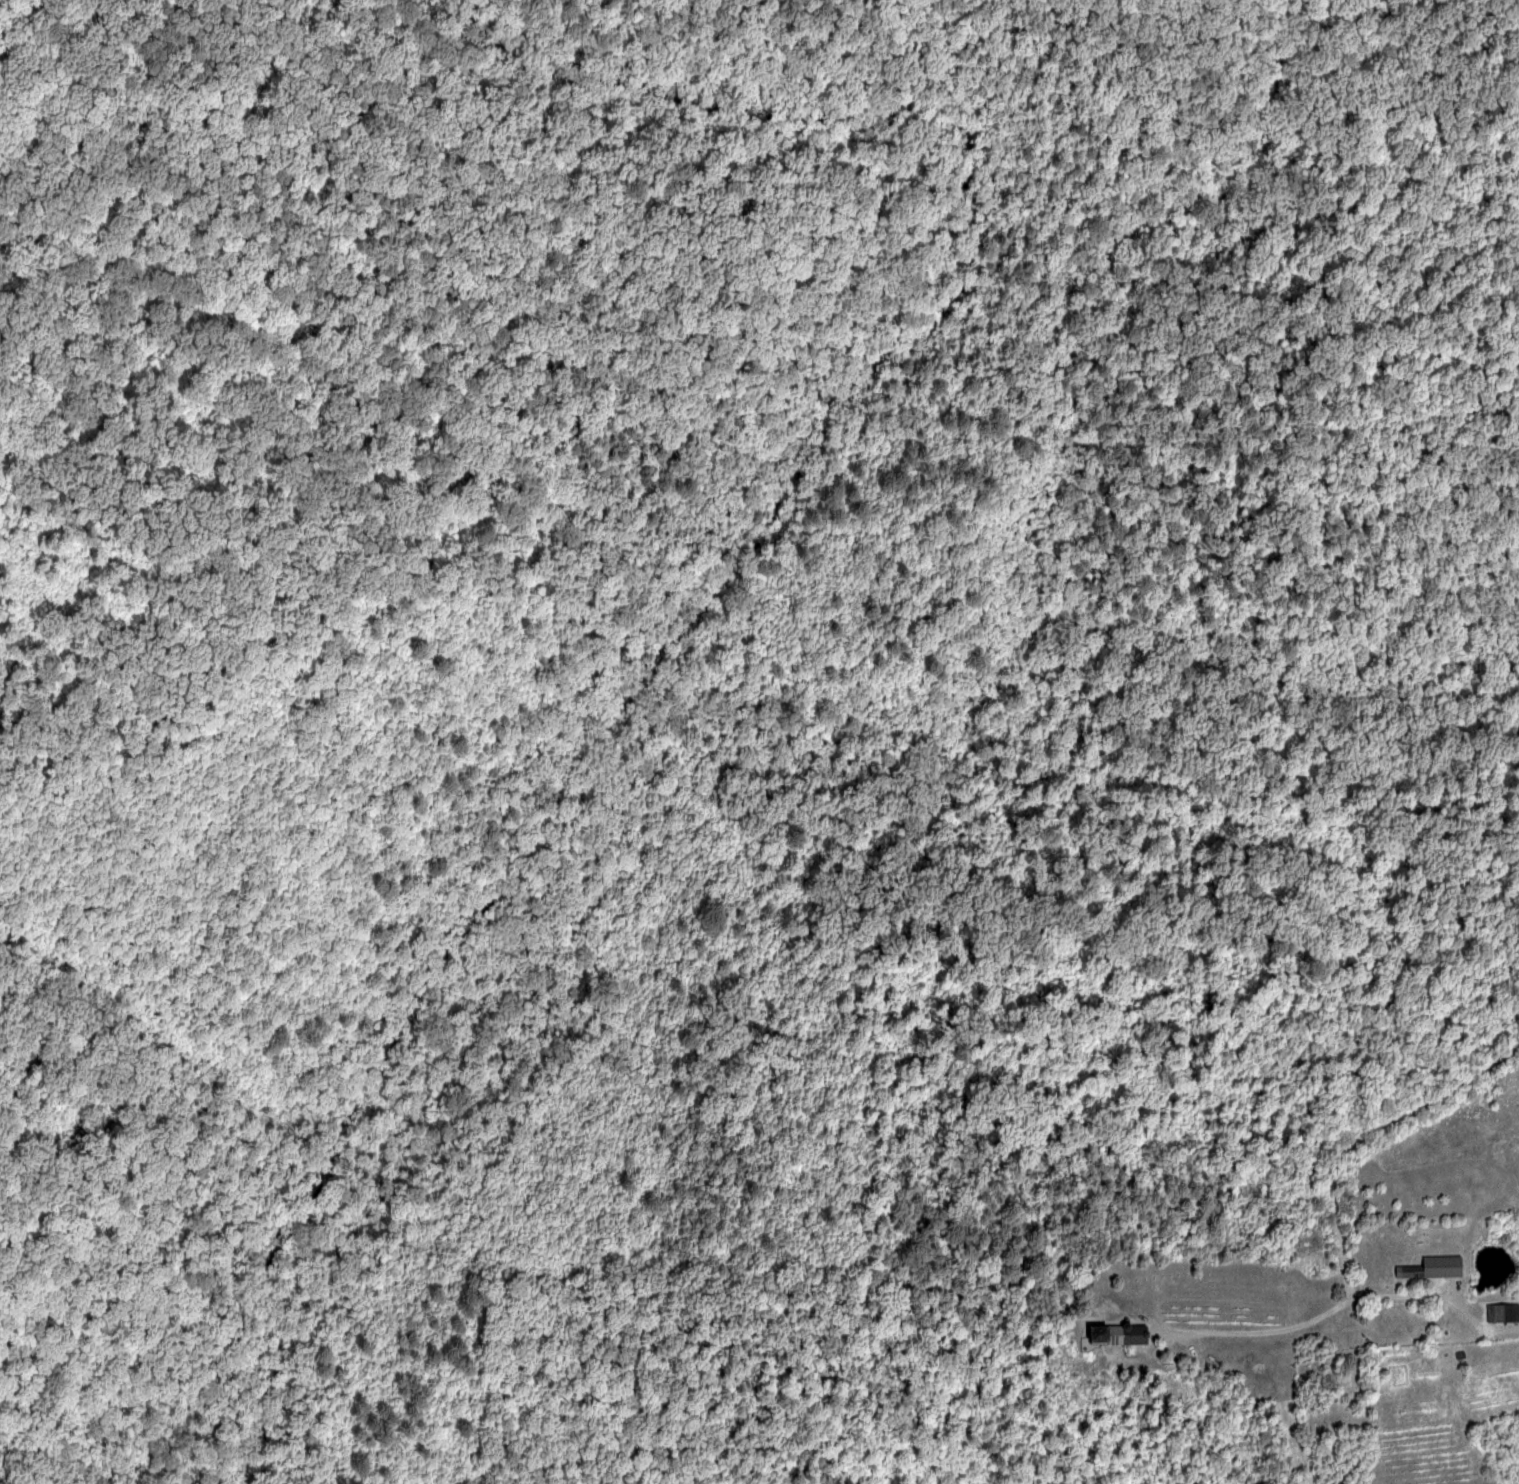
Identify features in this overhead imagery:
road: (1401, 1119)

